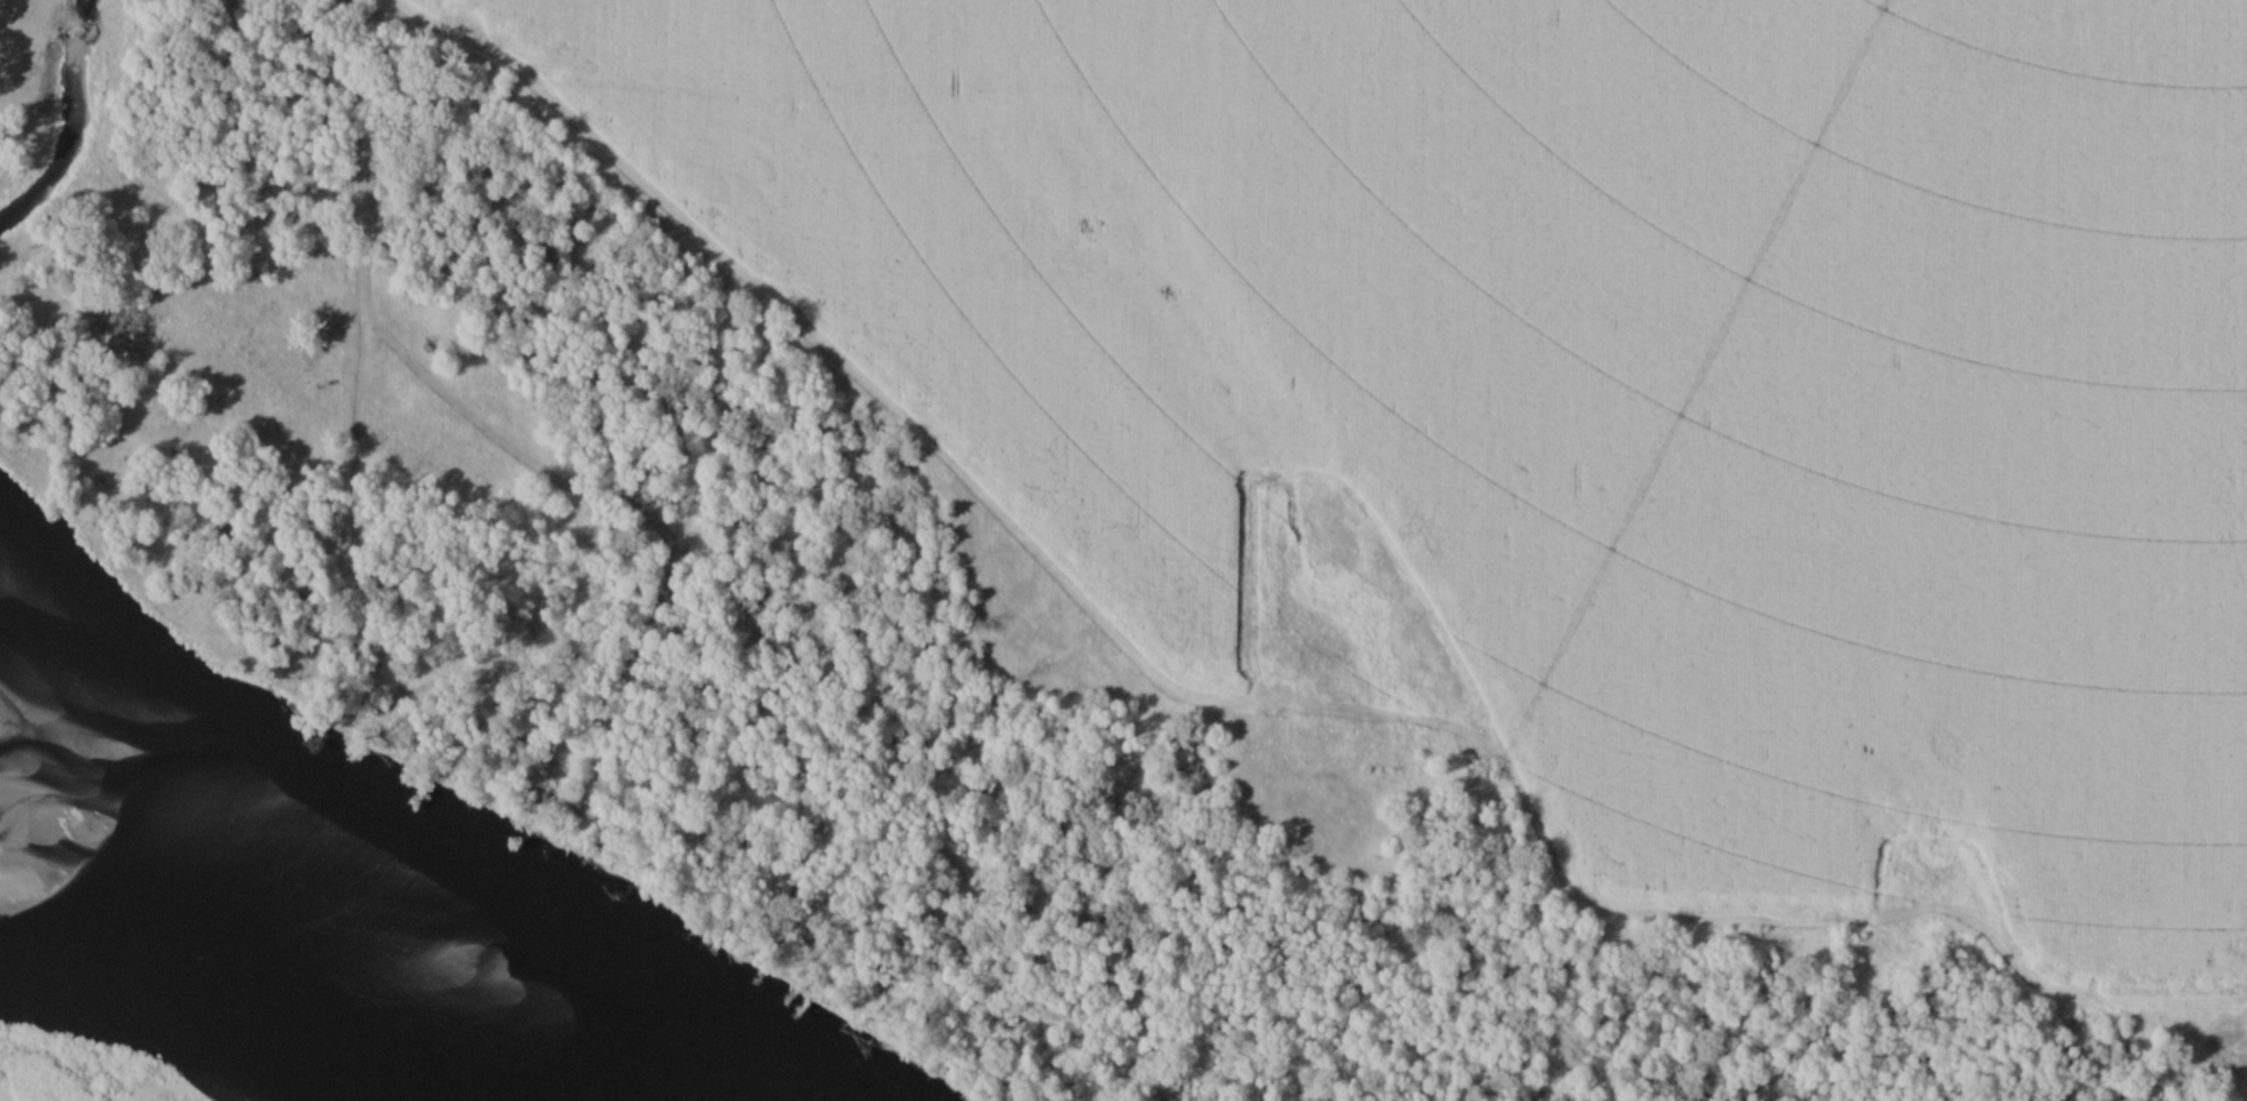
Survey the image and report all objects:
river: (273, 997)

